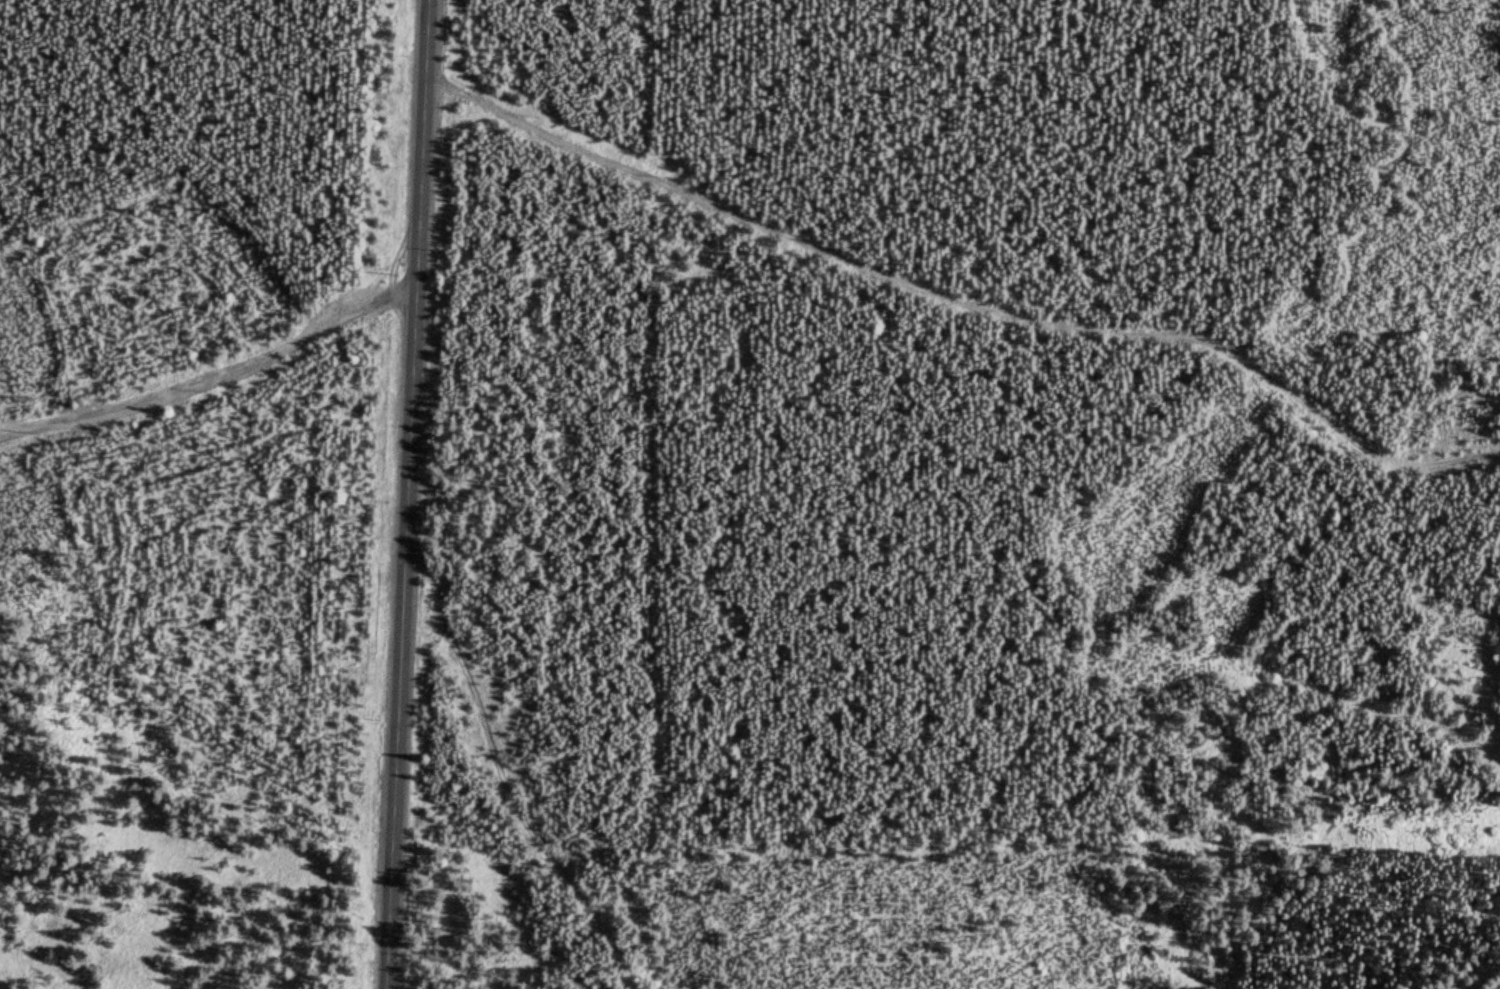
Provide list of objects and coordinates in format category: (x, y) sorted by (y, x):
road: (660, 133)
road: (208, 354)
road: (407, 494)
road: (501, 778)

